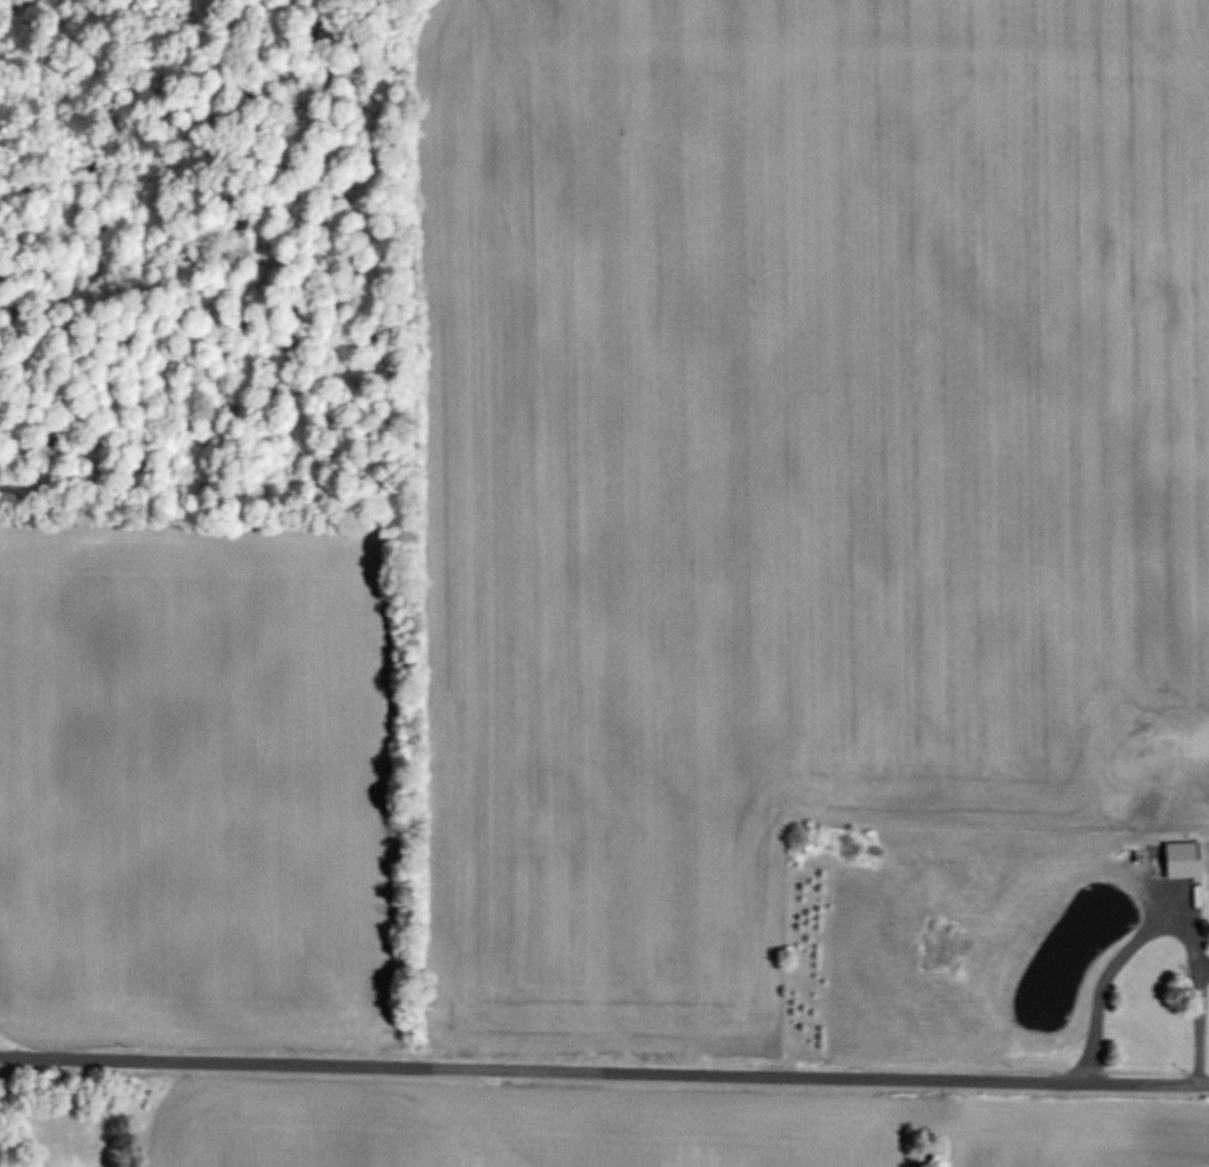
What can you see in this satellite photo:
road: (604, 1073)

